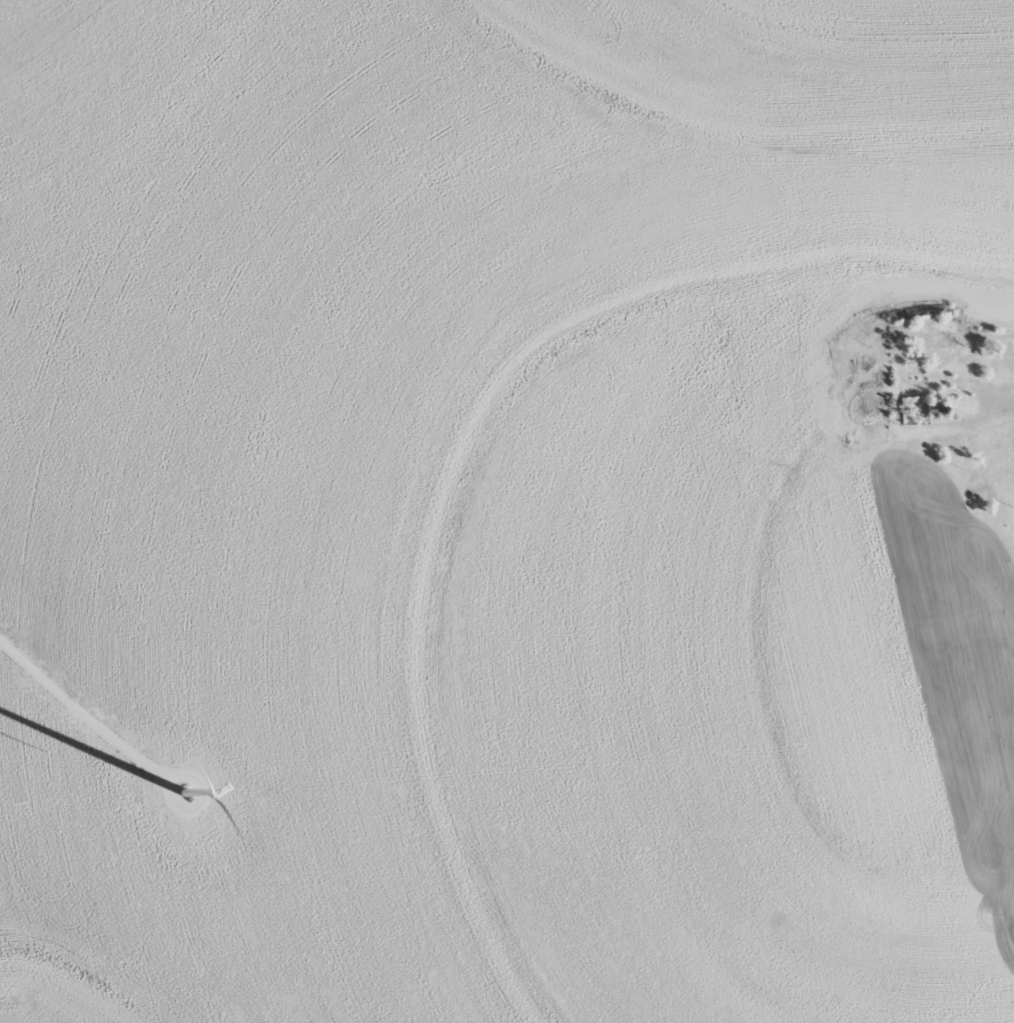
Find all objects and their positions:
road: (74, 704)
wind turbine: (195, 802)

